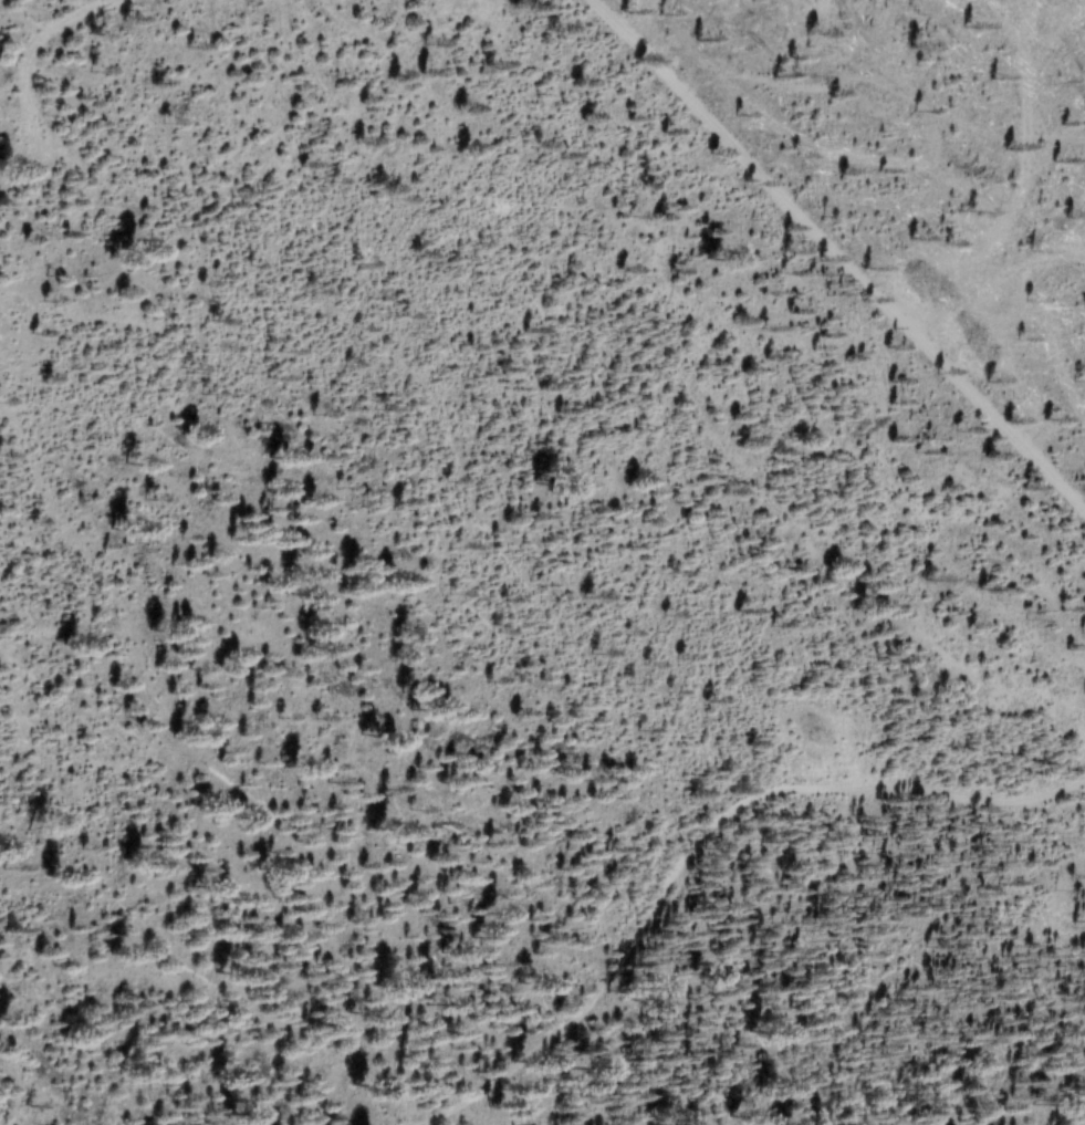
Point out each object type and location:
road: (822, 260)
road: (650, 846)

